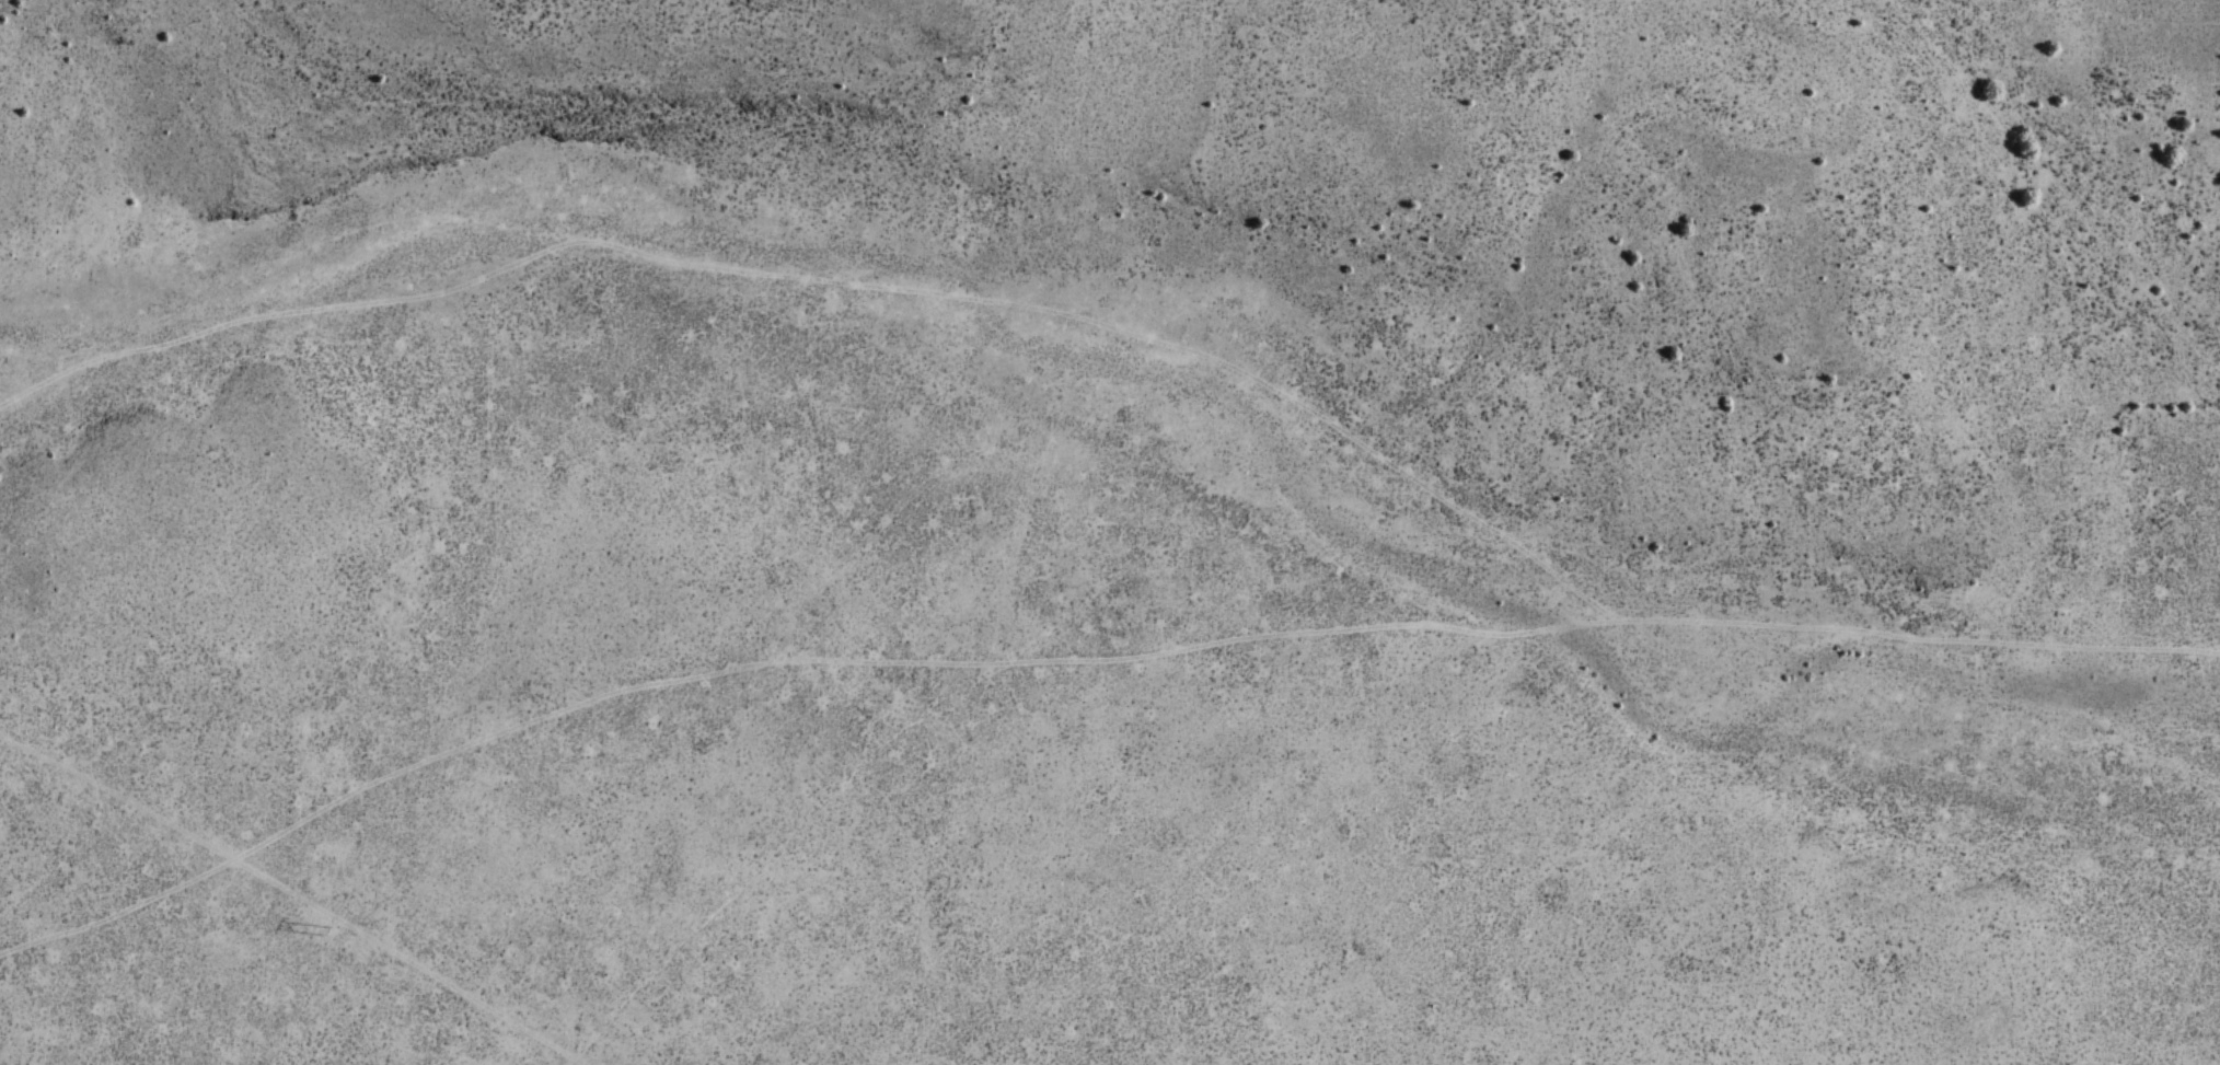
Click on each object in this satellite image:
road: (1079, 634)
power tower: (321, 930)

